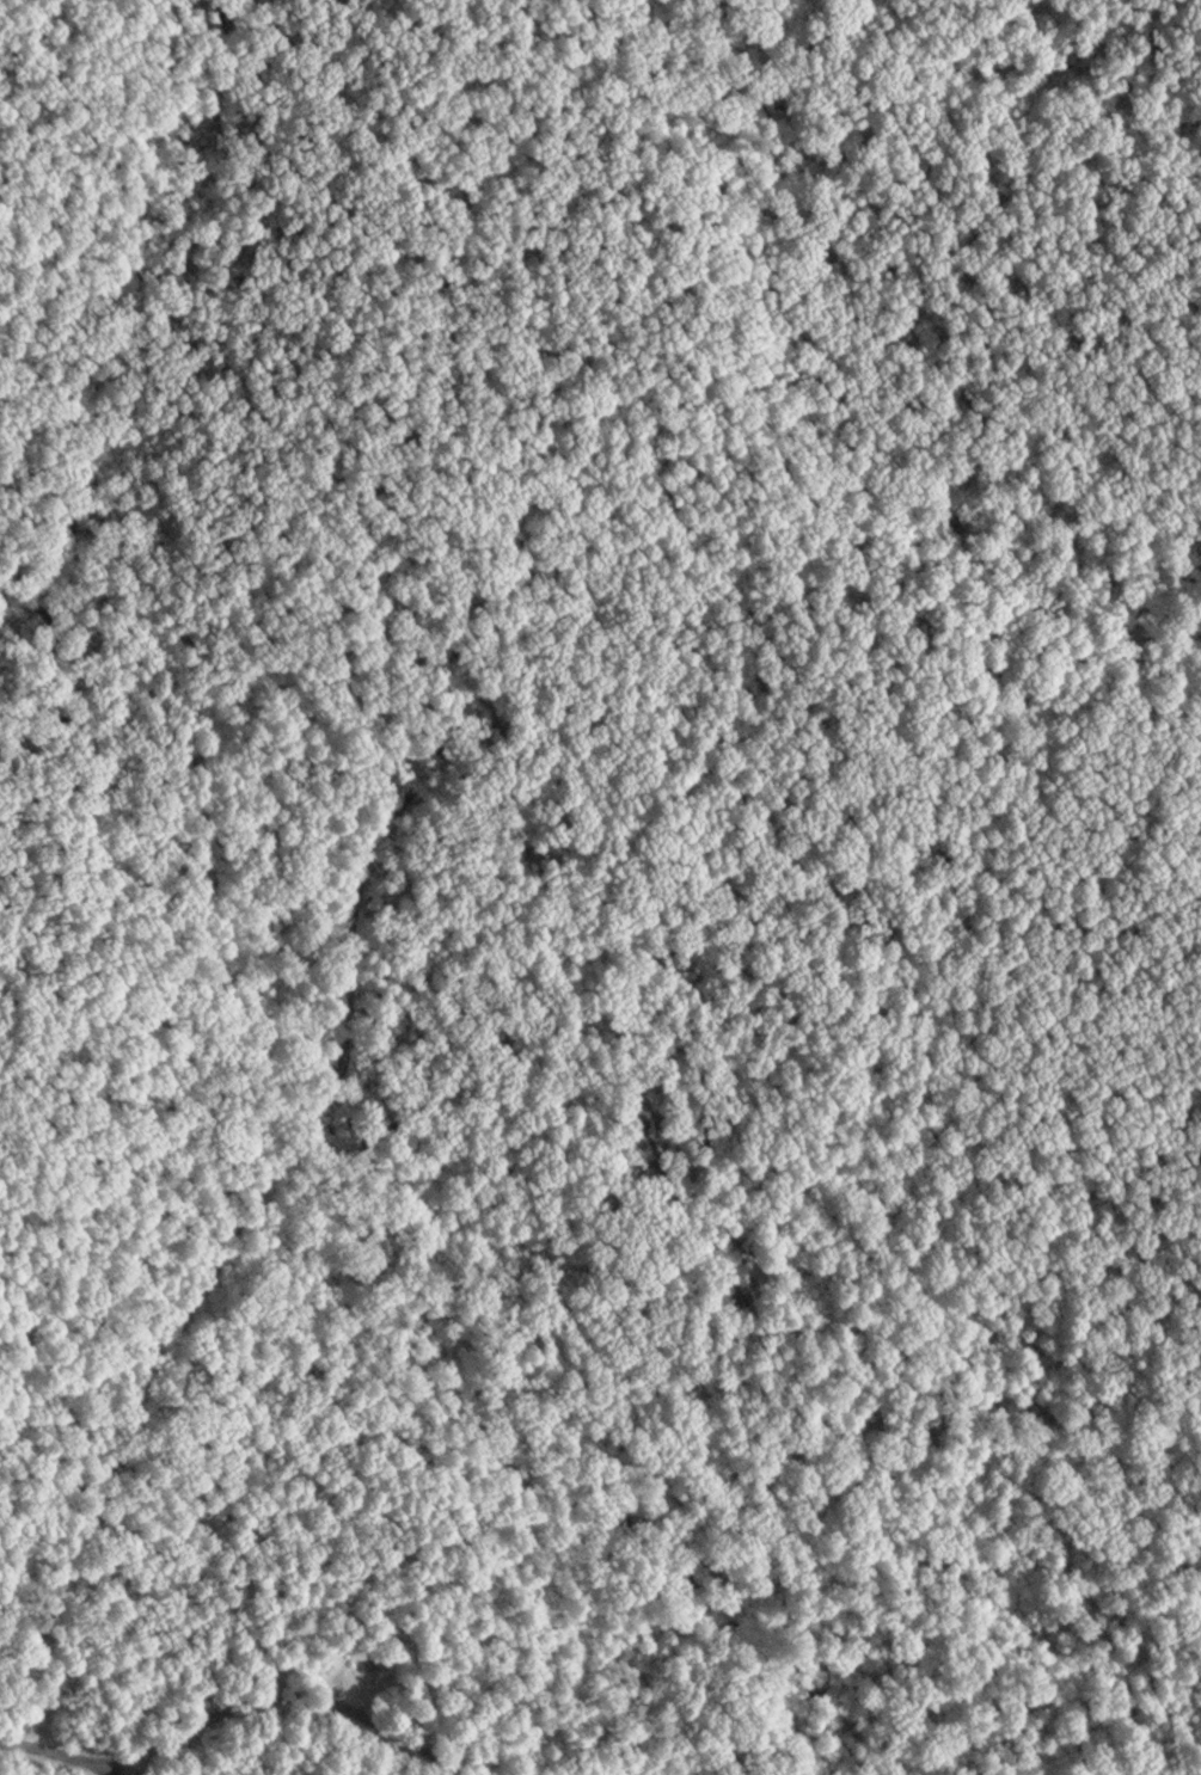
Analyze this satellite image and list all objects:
road: (368, 858)
road: (277, 1713)
road: (44, 1761)

